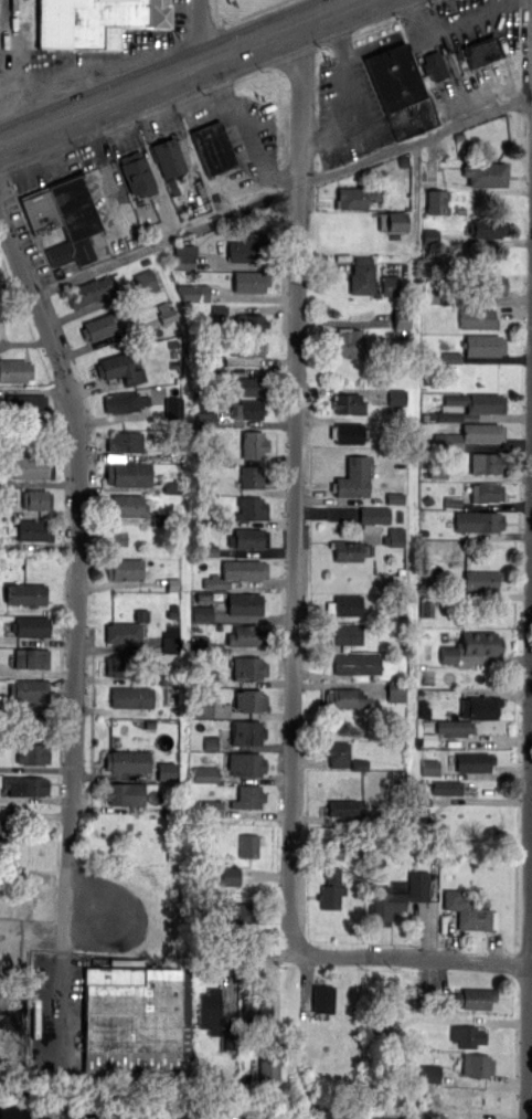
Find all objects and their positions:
building: (93, 21)
road: (200, 32)
road: (434, 35)
road: (453, 38)
road: (7, 40)
building: (481, 50)
parking lot: (465, 52)
road: (108, 61)
parking lot: (85, 62)
building: (434, 64)
road: (180, 72)
building: (394, 75)
road: (57, 99)
road: (358, 102)
parking lot: (352, 104)
building: (411, 118)
road: (170, 127)
road: (245, 134)
road: (415, 139)
parking lot: (253, 141)
building: (213, 147)
building: (168, 157)
road: (52, 168)
building: (136, 173)
building: (485, 173)
road: (415, 196)
building: (355, 197)
building: (437, 201)
building: (62, 210)
parking lot: (15, 212)
building: (396, 221)
building: (489, 228)
building: (430, 236)
road: (167, 241)
building: (244, 249)
building: (73, 251)
building: (183, 256)
building: (362, 275)
building: (248, 281)
building: (146, 282)
building: (390, 285)
building: (492, 286)
building: (92, 291)
building: (192, 292)
building: (429, 296)
building: (219, 309)
building: (164, 310)
building: (477, 318)
building: (401, 319)
building: (251, 323)
building: (98, 327)
building: (348, 341)
building: (485, 345)
building: (246, 347)
building: (451, 358)
building: (215, 360)
building: (120, 369)
building: (15, 370)
building: (247, 386)
building: (395, 397)
building: (124, 402)
building: (348, 403)
building: (487, 403)
building: (24, 404)
building: (173, 407)
building: (246, 409)
building: (205, 420)
building: (347, 432)
building: (469, 435)
building: (125, 441)
building: (253, 444)
building: (486, 463)
building: (31, 467)
building: (436, 472)
building: (127, 474)
building: (251, 476)
building: (355, 476)
road: (296, 486)
building: (172, 487)
building: (487, 492)
building: (395, 497)
building: (35, 499)
building: (451, 502)
building: (125, 505)
building: (252, 508)
building: (478, 521)
building: (374, 522)
building: (33, 530)
building: (395, 537)
building: (251, 538)
building: (347, 550)
building: (208, 551)
building: (124, 569)
building: (236, 572)
road: (78, 573)
building: (433, 578)
building: (481, 581)
building: (172, 584)
building: (25, 593)
building: (245, 603)
building: (344, 605)
building: (425, 608)
building: (202, 613)
building: (31, 626)
building: (126, 630)
building: (347, 634)
building: (247, 636)
building: (170, 637)
building: (471, 645)
building: (31, 658)
building: (357, 664)
building: (119, 665)
building: (249, 667)
building: (166, 678)
building: (29, 690)
building: (395, 690)
building: (130, 697)
building: (345, 698)
building: (249, 699)
building: (203, 707)
building: (482, 707)
building: (30, 718)
building: (454, 727)
building: (246, 731)
building: (427, 739)
building: (211, 742)
building: (337, 752)
building: (32, 753)
building: (126, 761)
building: (474, 762)
building: (245, 763)
building: (360, 764)
building: (429, 767)
building: (164, 770)
building: (204, 773)
building: (25, 785)
building: (446, 787)
building: (124, 793)
building: (247, 796)
building: (211, 807)
building: (345, 807)
building: (1, 830)
building: (247, 845)
building: (334, 852)
road: (529, 856)
building: (230, 876)
building: (331, 888)
building: (397, 896)
building: (468, 911)
building: (236, 914)
road: (411, 959)
building: (323, 997)
building: (477, 999)
road: (64, 1007)
parking lot: (57, 1010)
building: (209, 1010)
building: (256, 1011)
building: (136, 1018)
building: (379, 1026)
building: (467, 1035)
building: (477, 1064)
building: (268, 1068)
building: (429, 1073)
building: (12, 1111)

